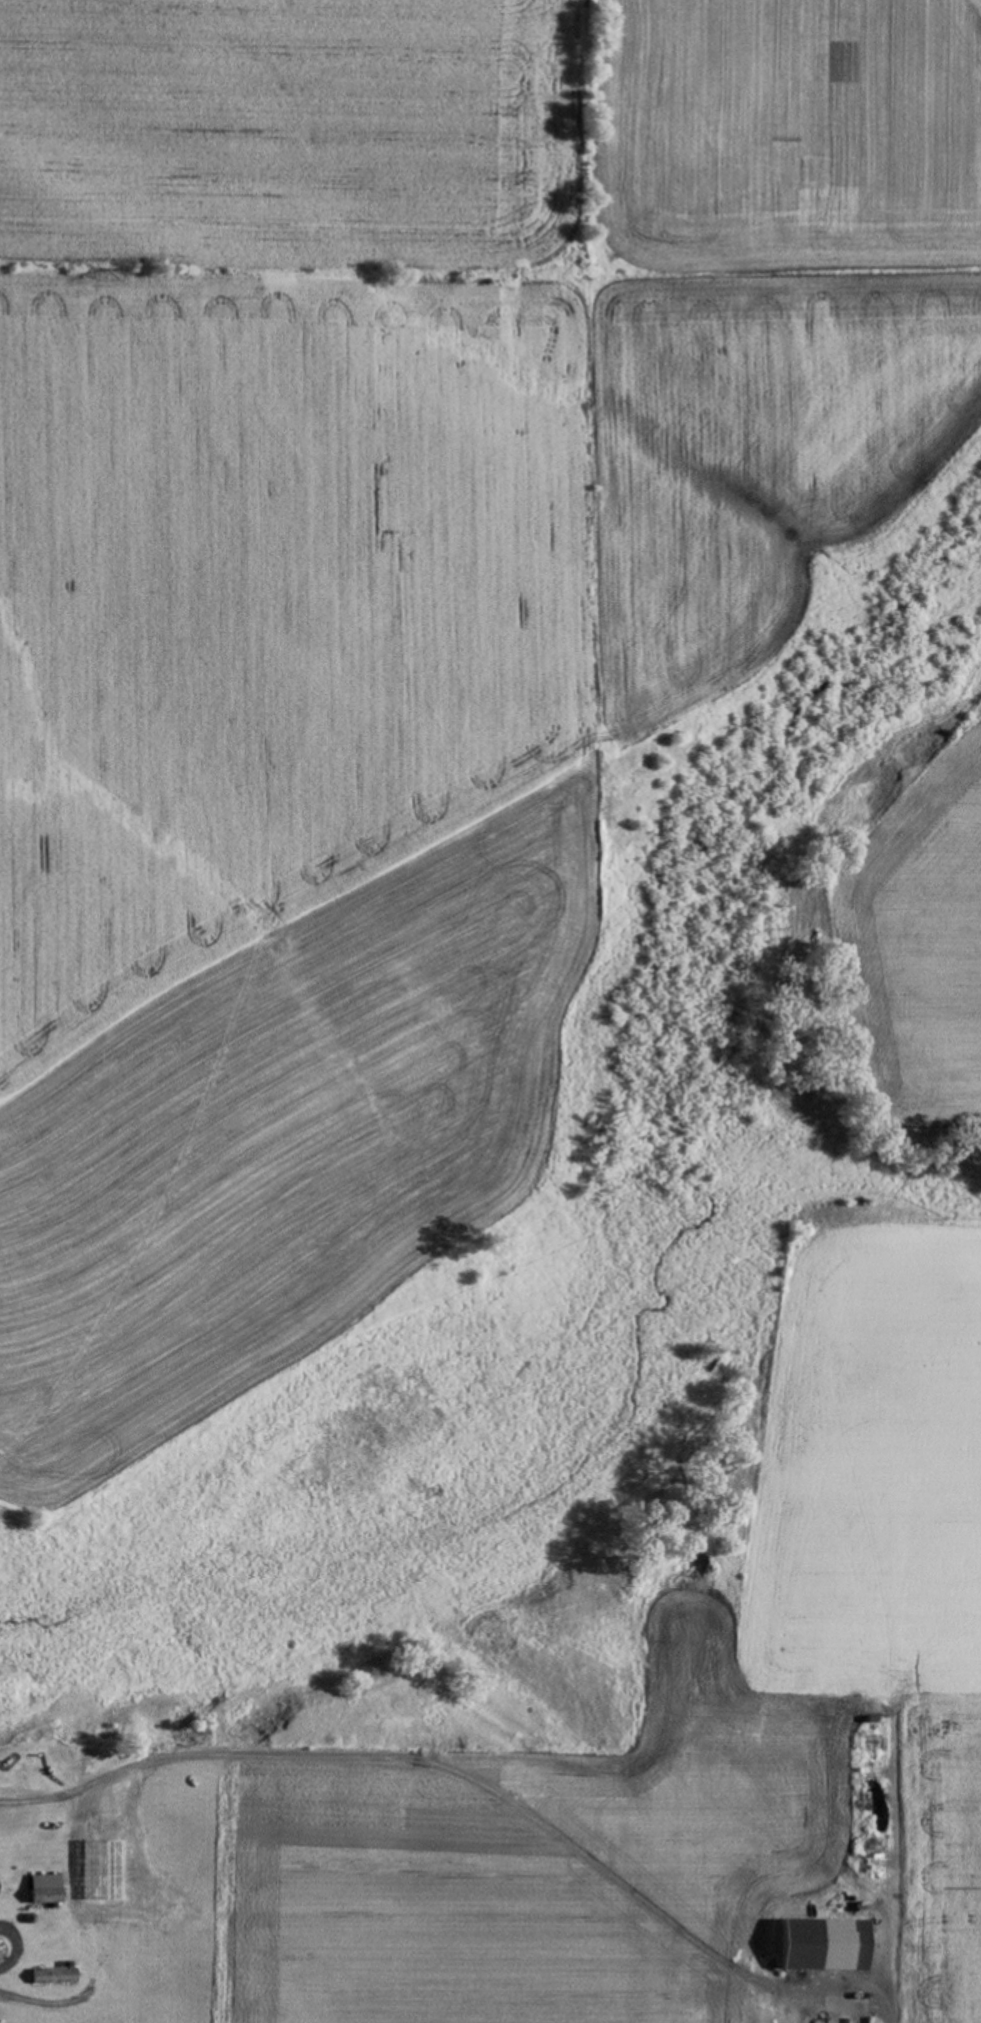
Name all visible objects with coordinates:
building: (47, 1892)
road: (16, 1954)
road: (852, 1976)

